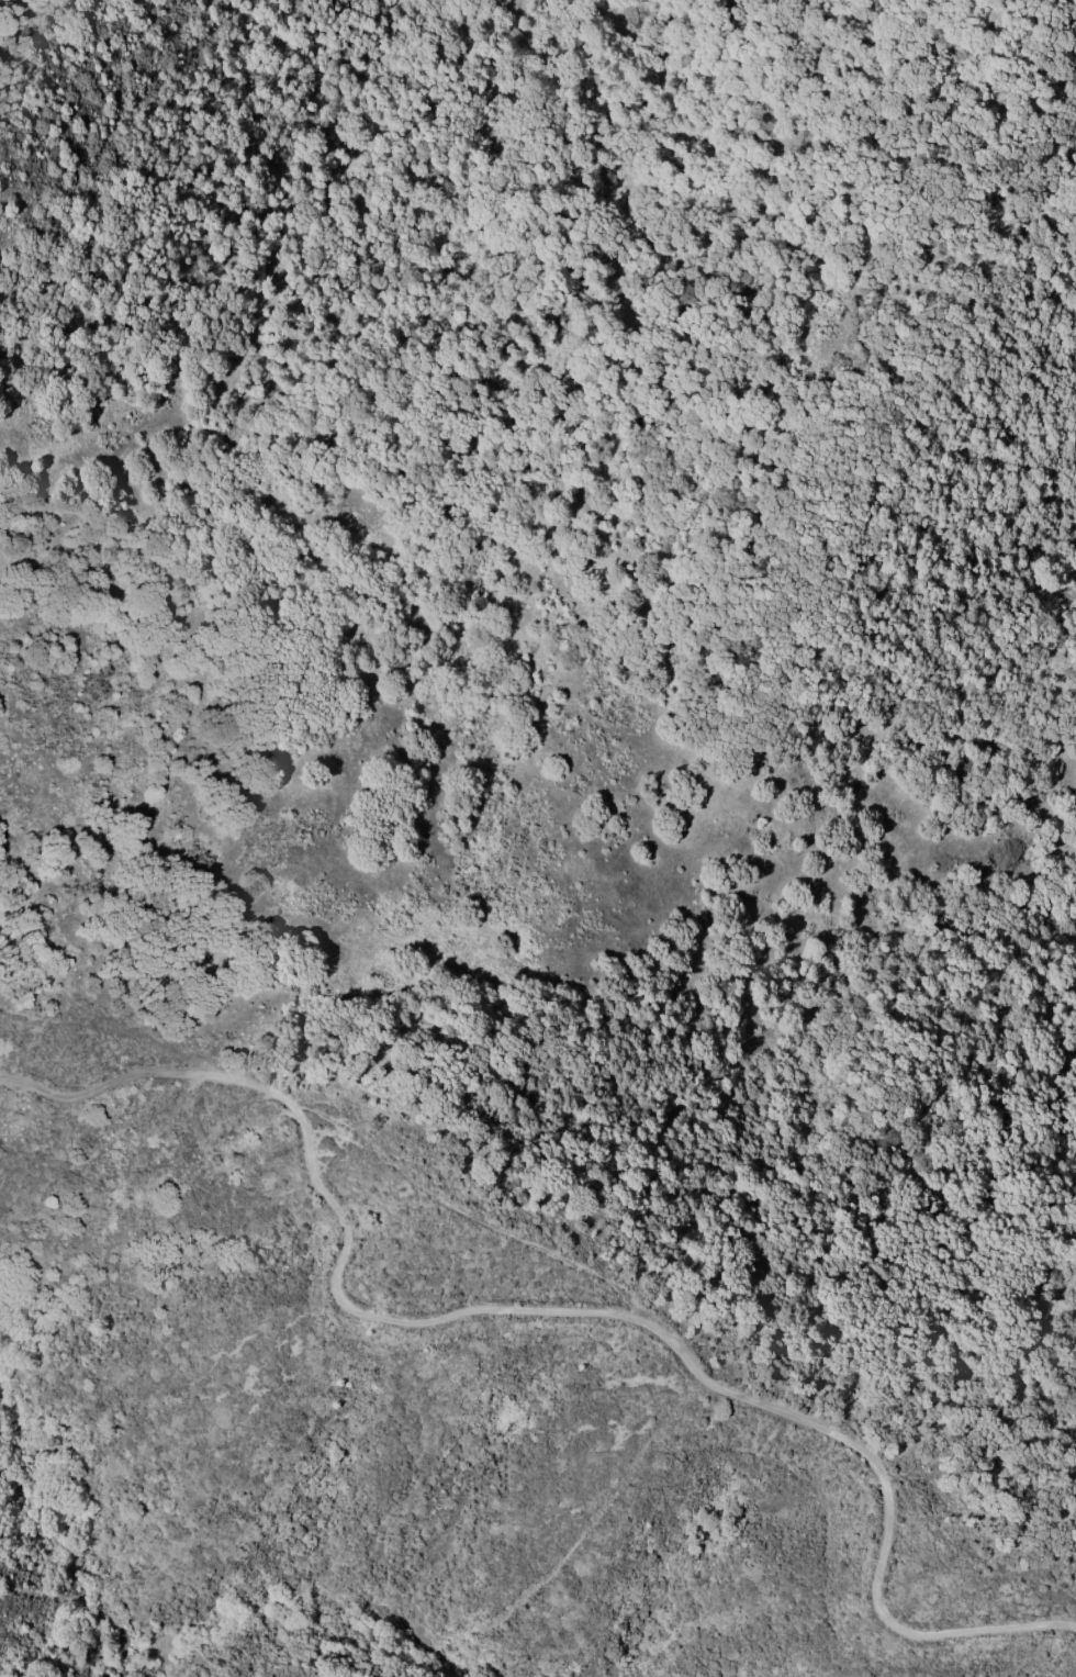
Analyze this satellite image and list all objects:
road: (584, 37)
road: (291, 301)
road: (547, 1310)

